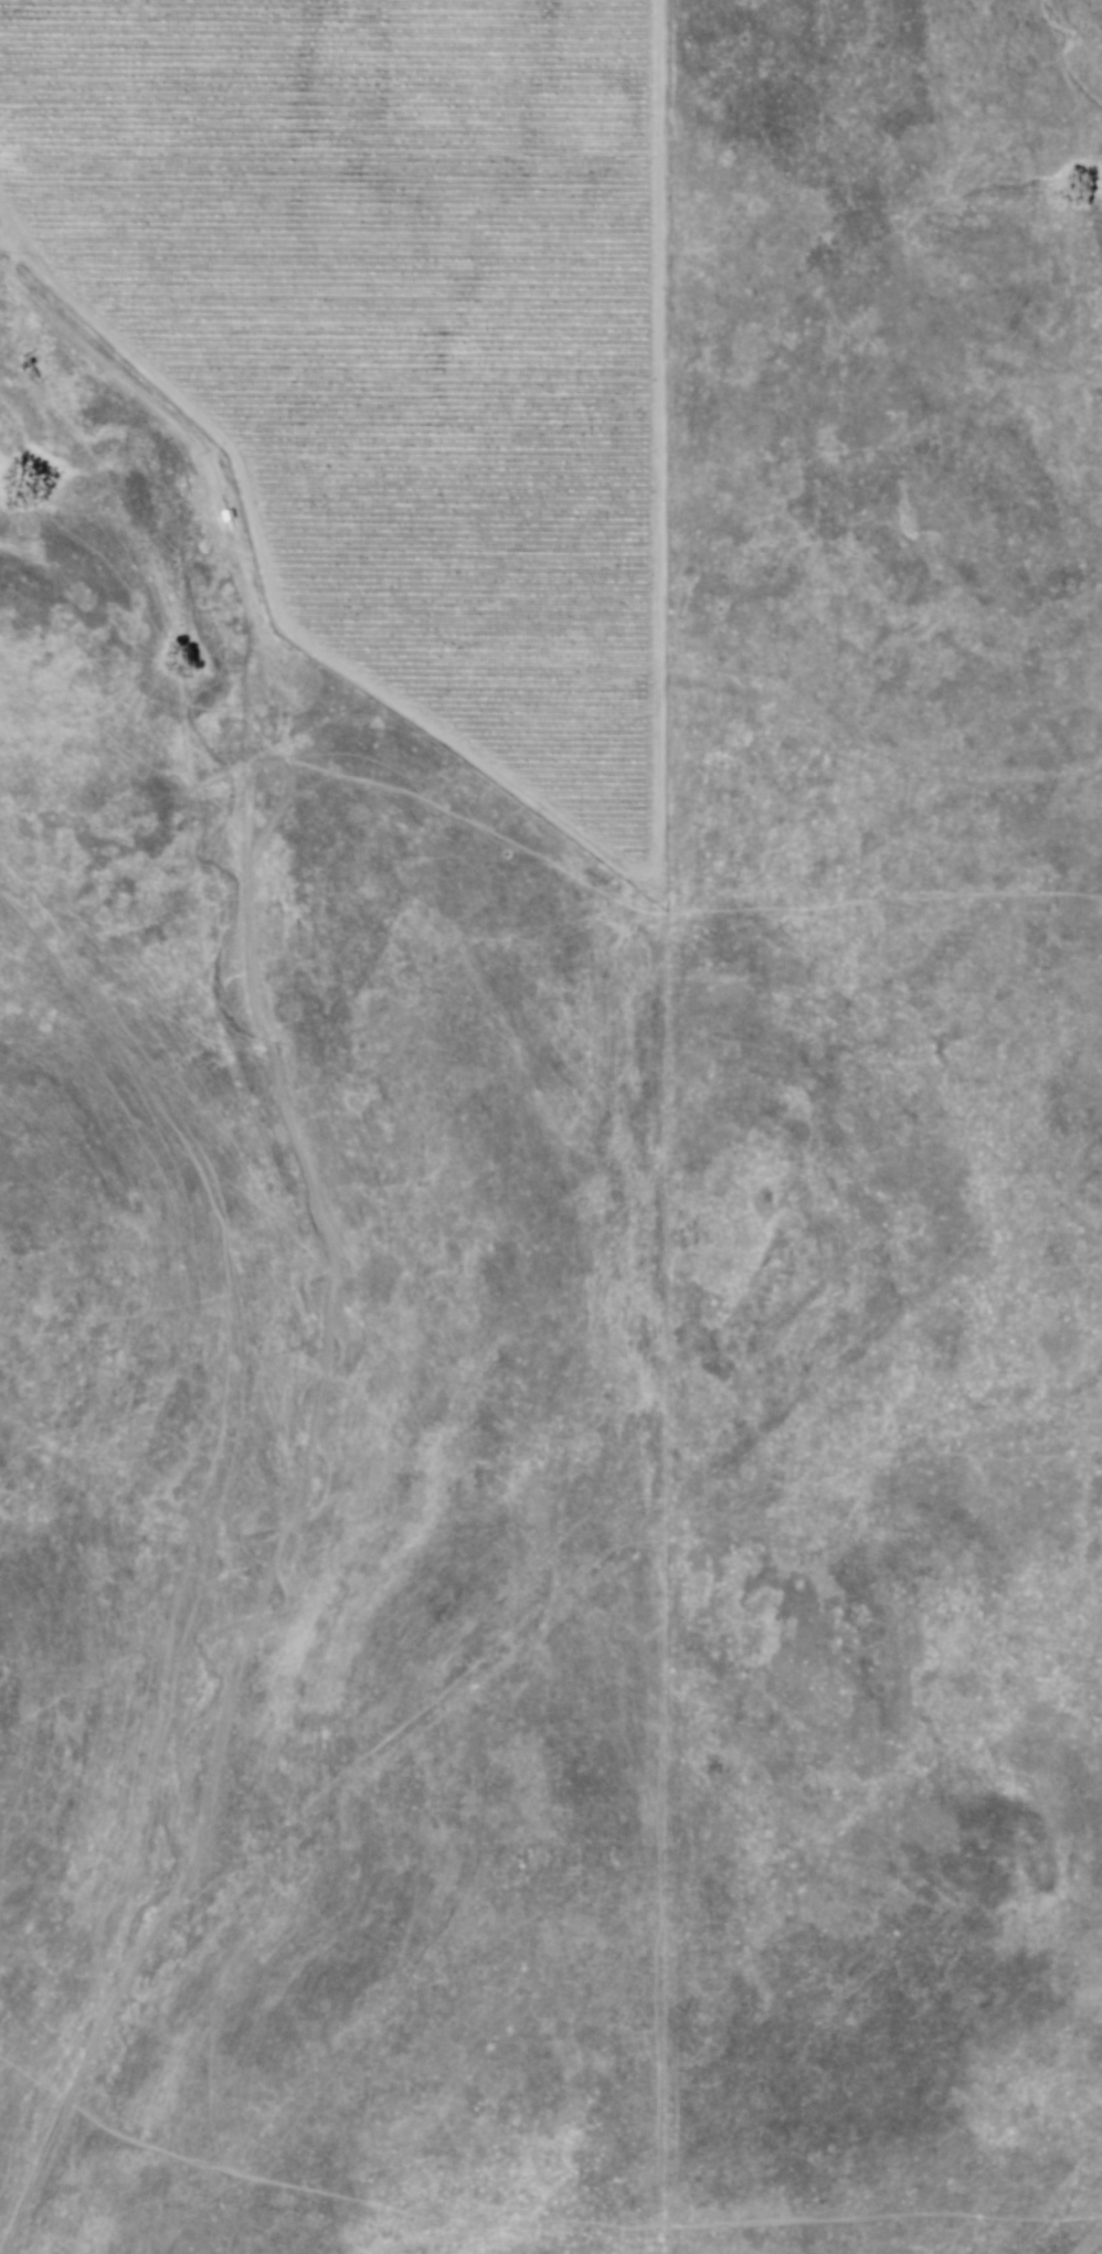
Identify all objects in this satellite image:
road: (13, 251)
road: (605, 861)
road: (331, 1241)
road: (1093, 2243)

